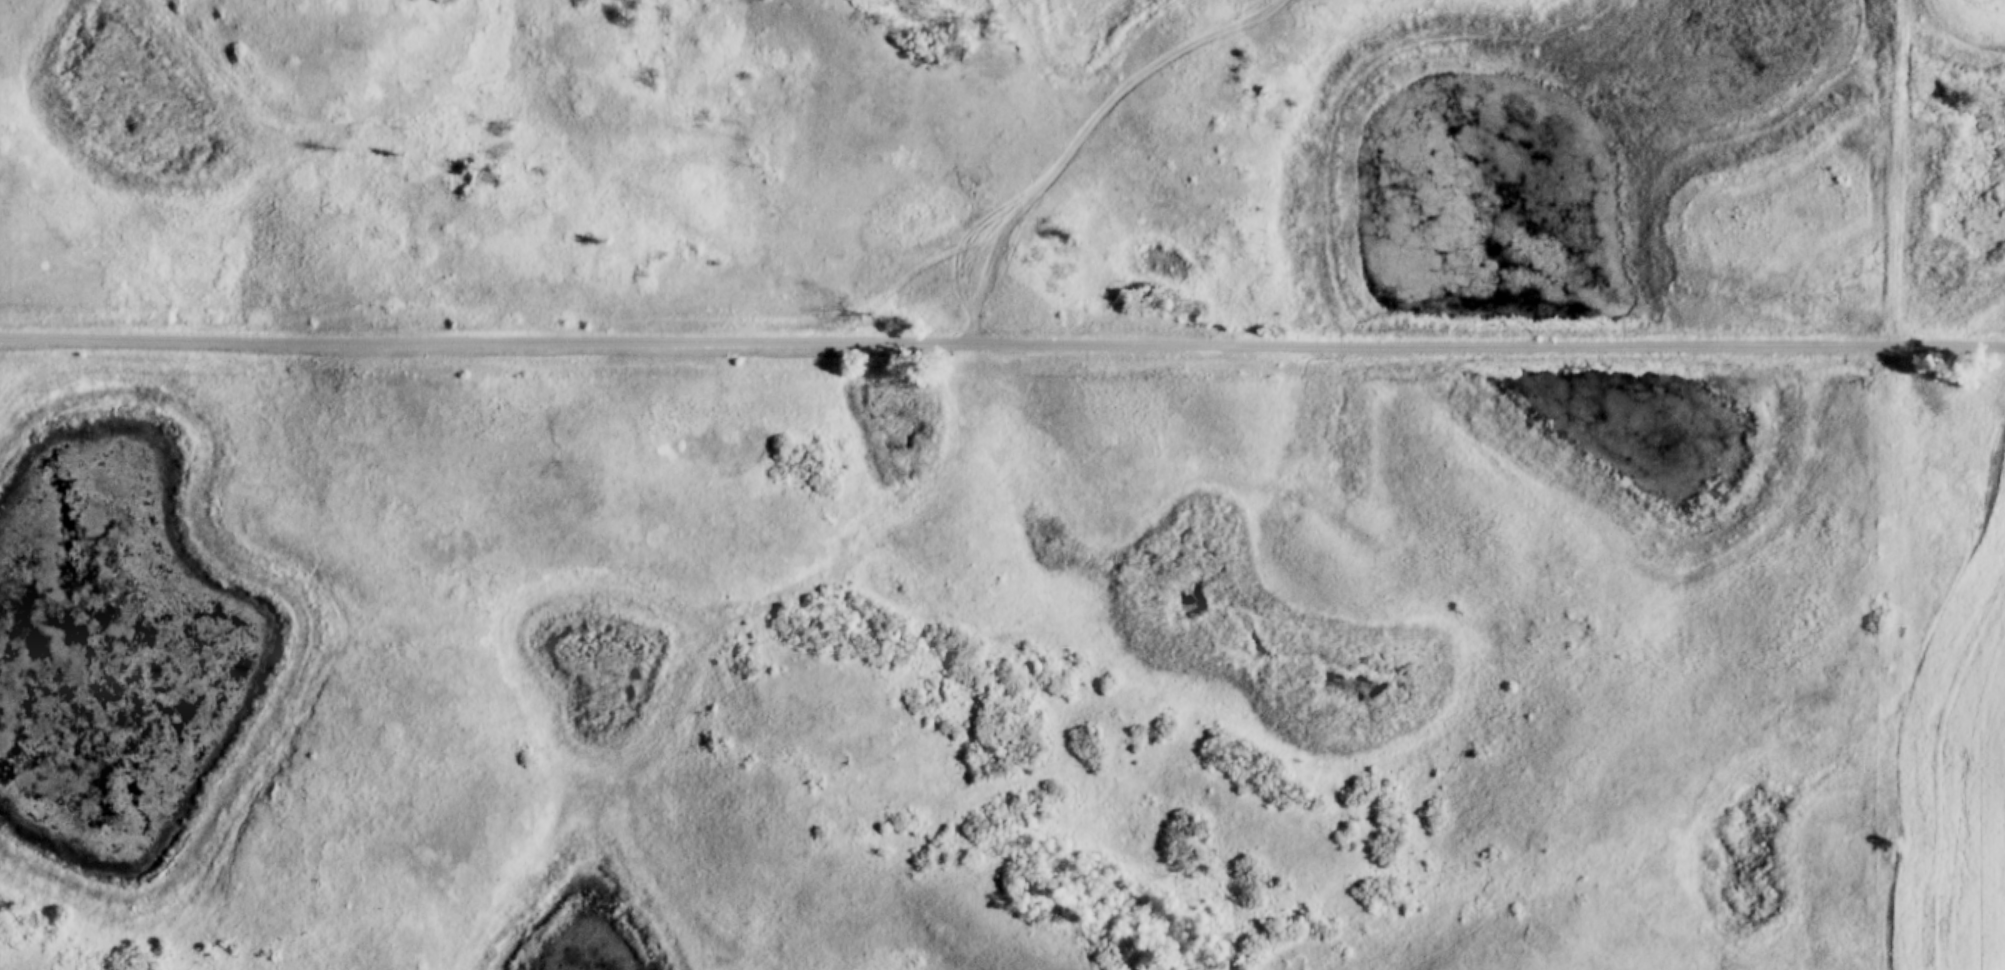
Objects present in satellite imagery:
road: (1046, 173)
road: (1002, 345)

